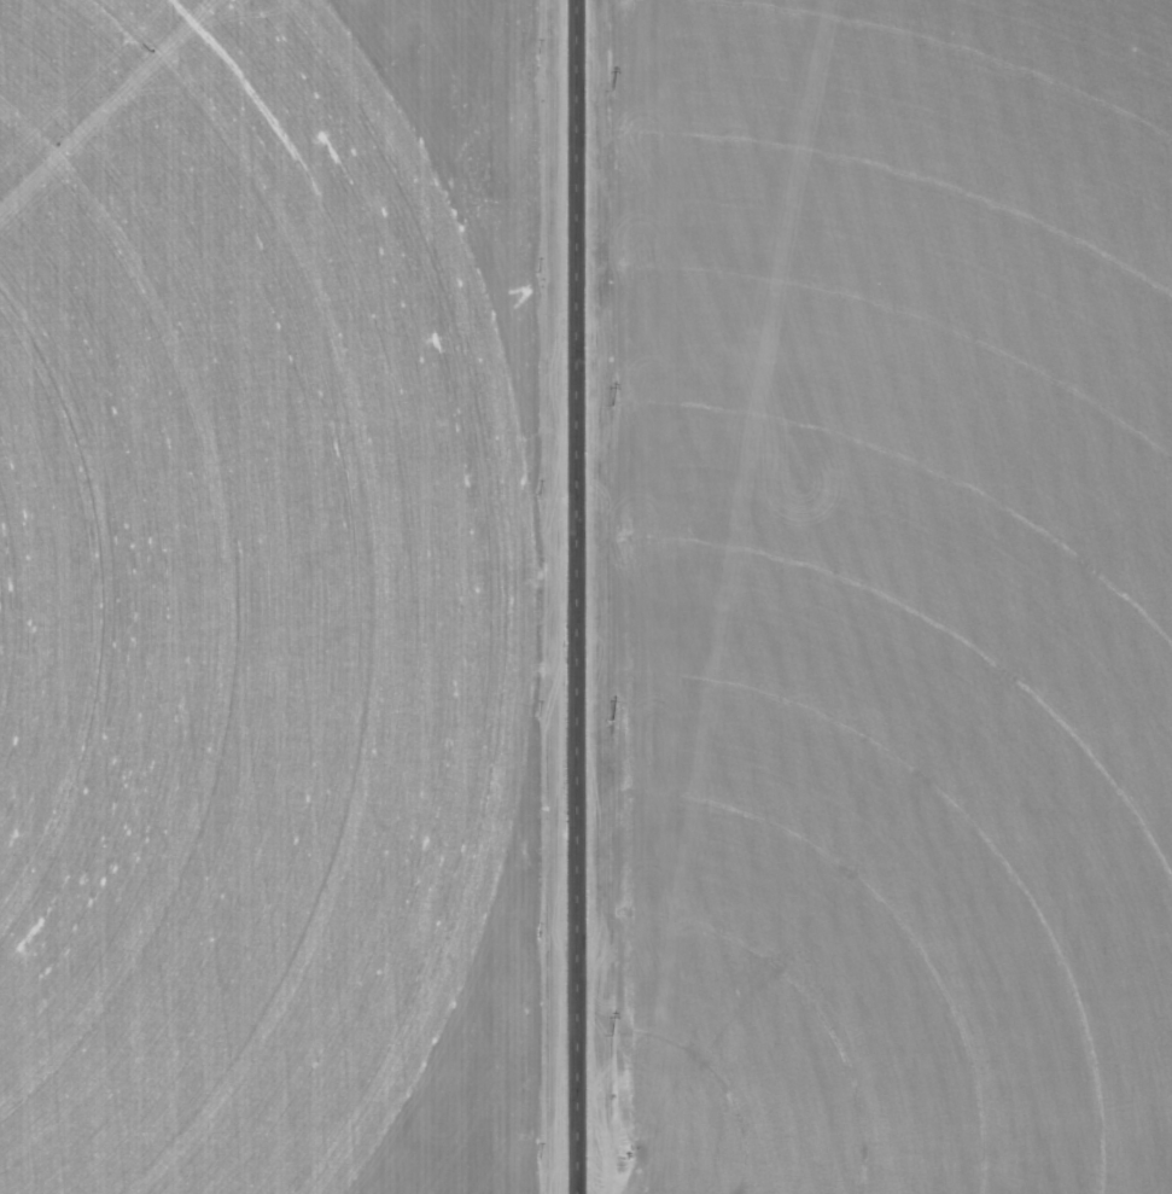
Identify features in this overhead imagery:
road: (584, 596)

